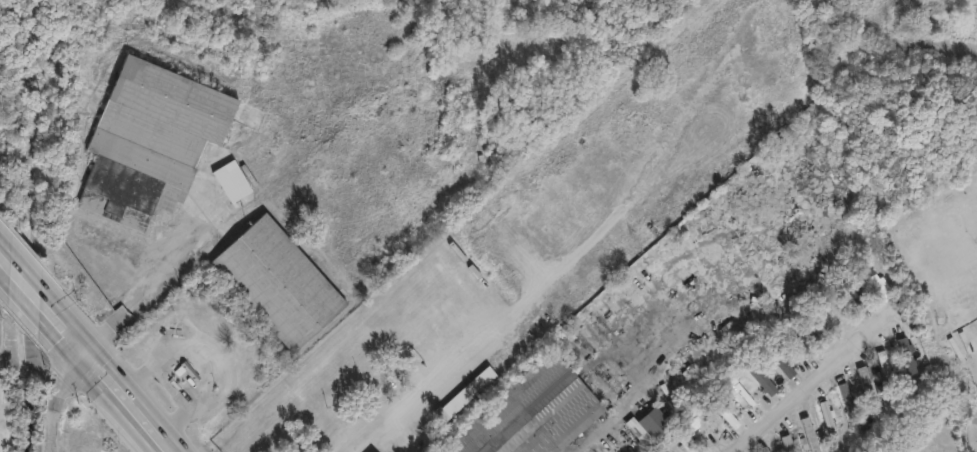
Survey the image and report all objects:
building: (152, 139)
building: (232, 181)
road: (131, 253)
road: (0, 267)
road: (0, 268)
road: (14, 282)
road: (154, 284)
road: (49, 321)
road: (218, 353)
building: (905, 357)
building: (884, 367)
road: (444, 373)
building: (758, 378)
road: (183, 381)
building: (866, 388)
road: (803, 390)
road: (115, 392)
road: (53, 397)
building: (846, 405)
building: (827, 419)
building: (810, 434)
building: (785, 444)
road: (163, 446)

